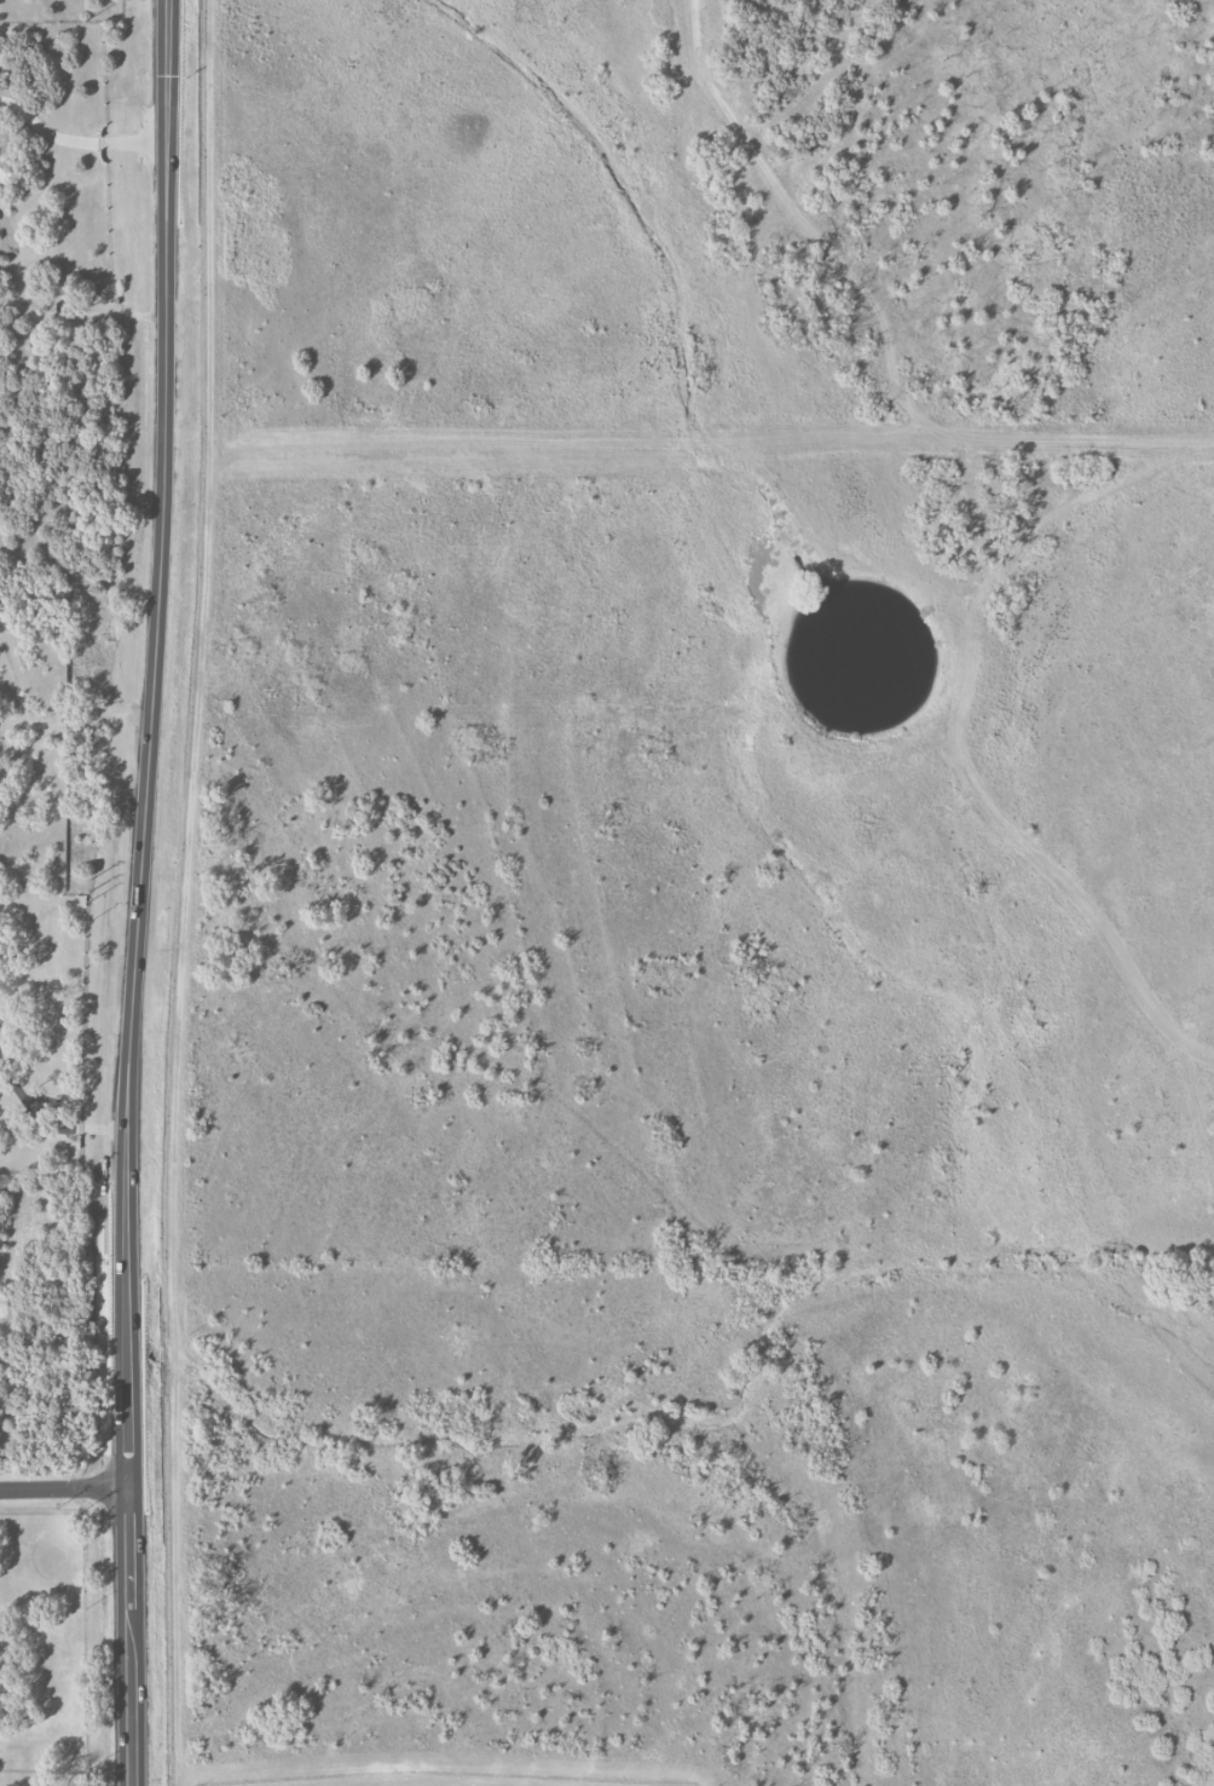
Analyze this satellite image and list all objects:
road: (77, 140)
road: (75, 725)
road: (139, 892)
road: (64, 1488)

